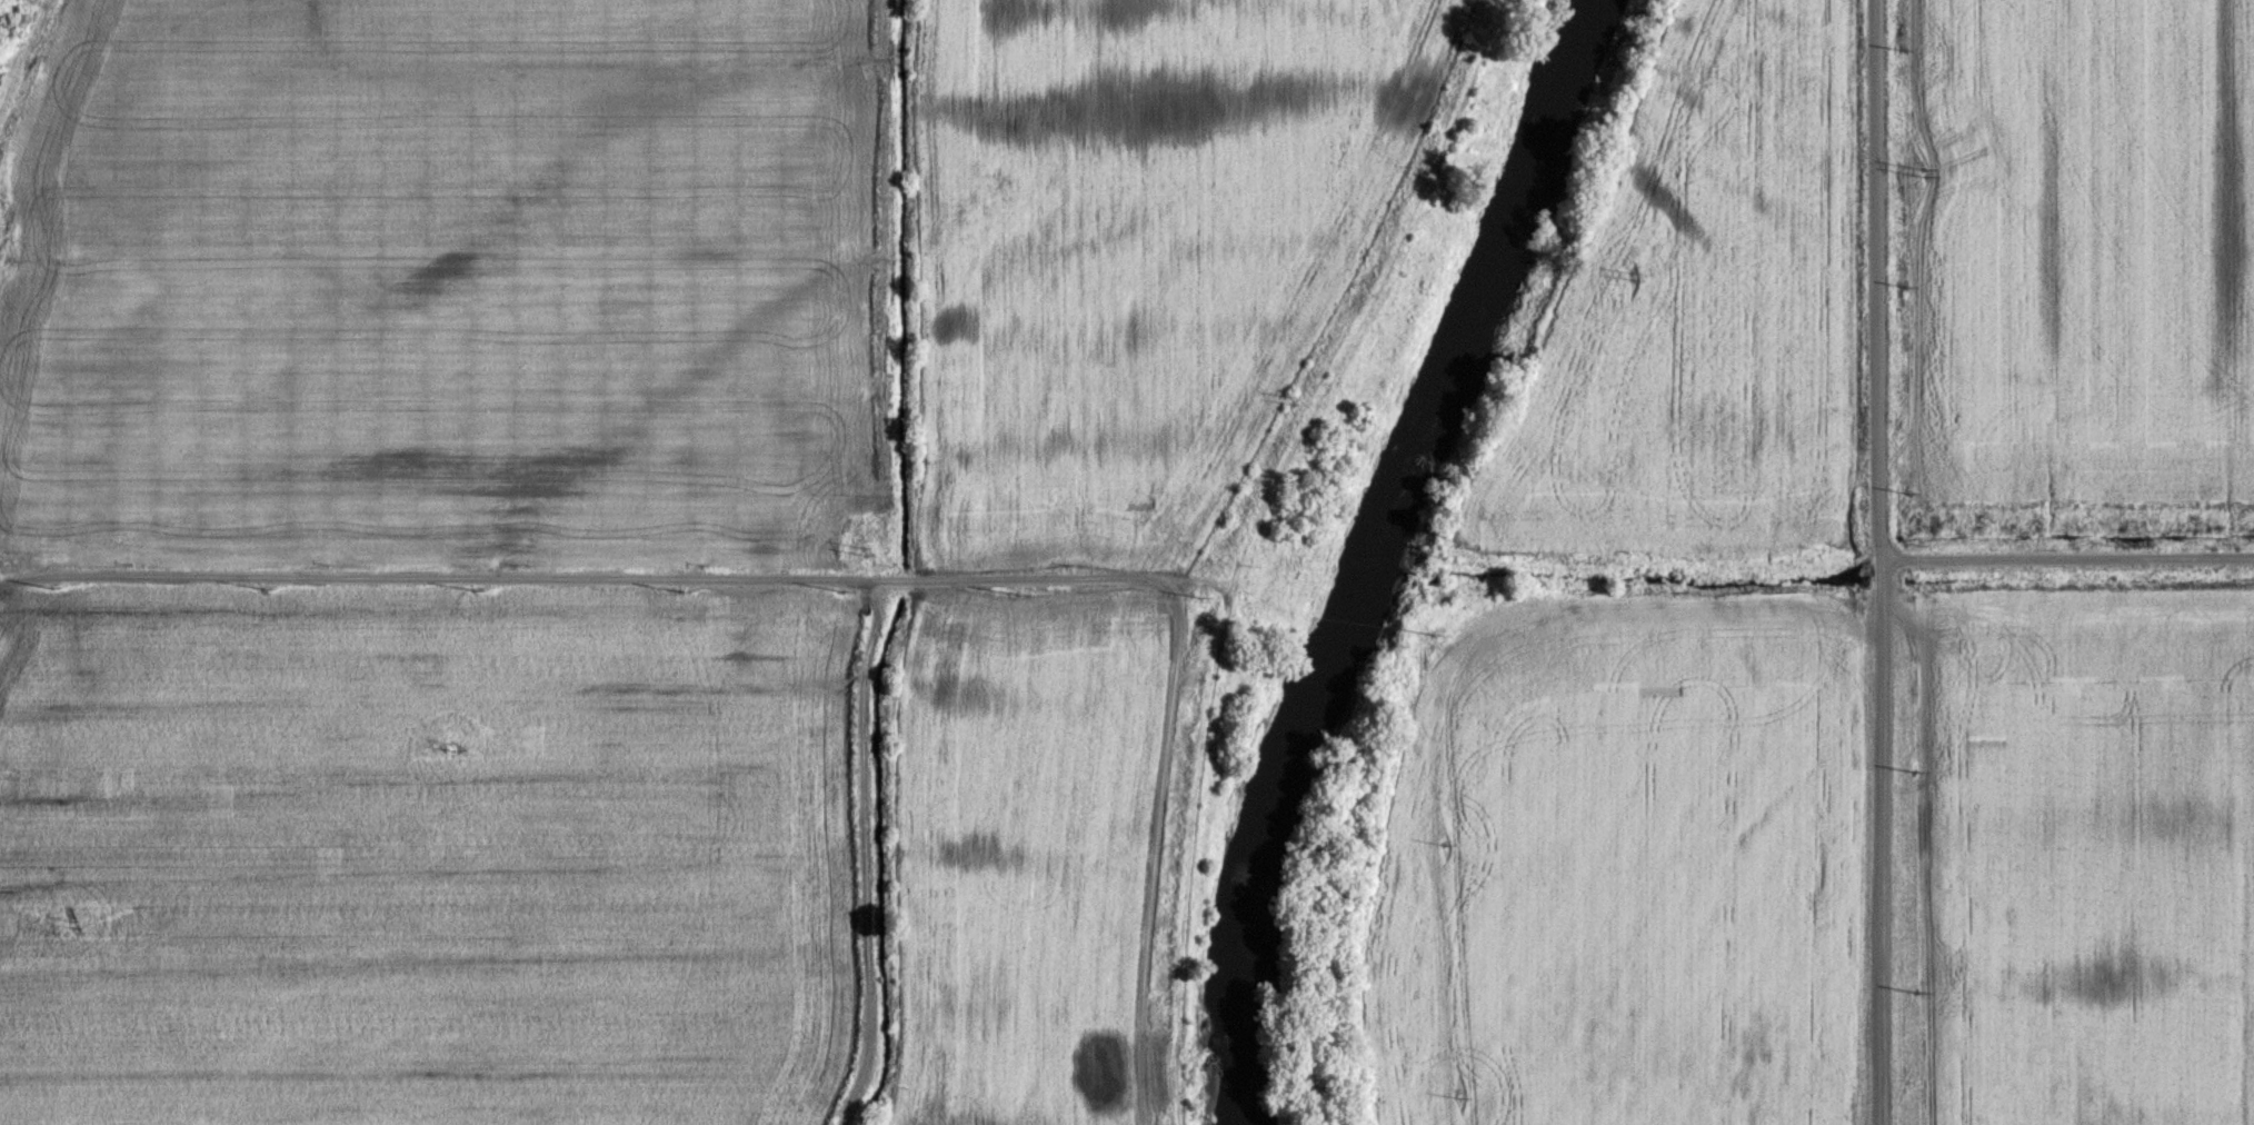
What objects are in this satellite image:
river: (1529, 183)
road: (1875, 278)
road: (2065, 556)
river: (1301, 733)
road: (1877, 840)

